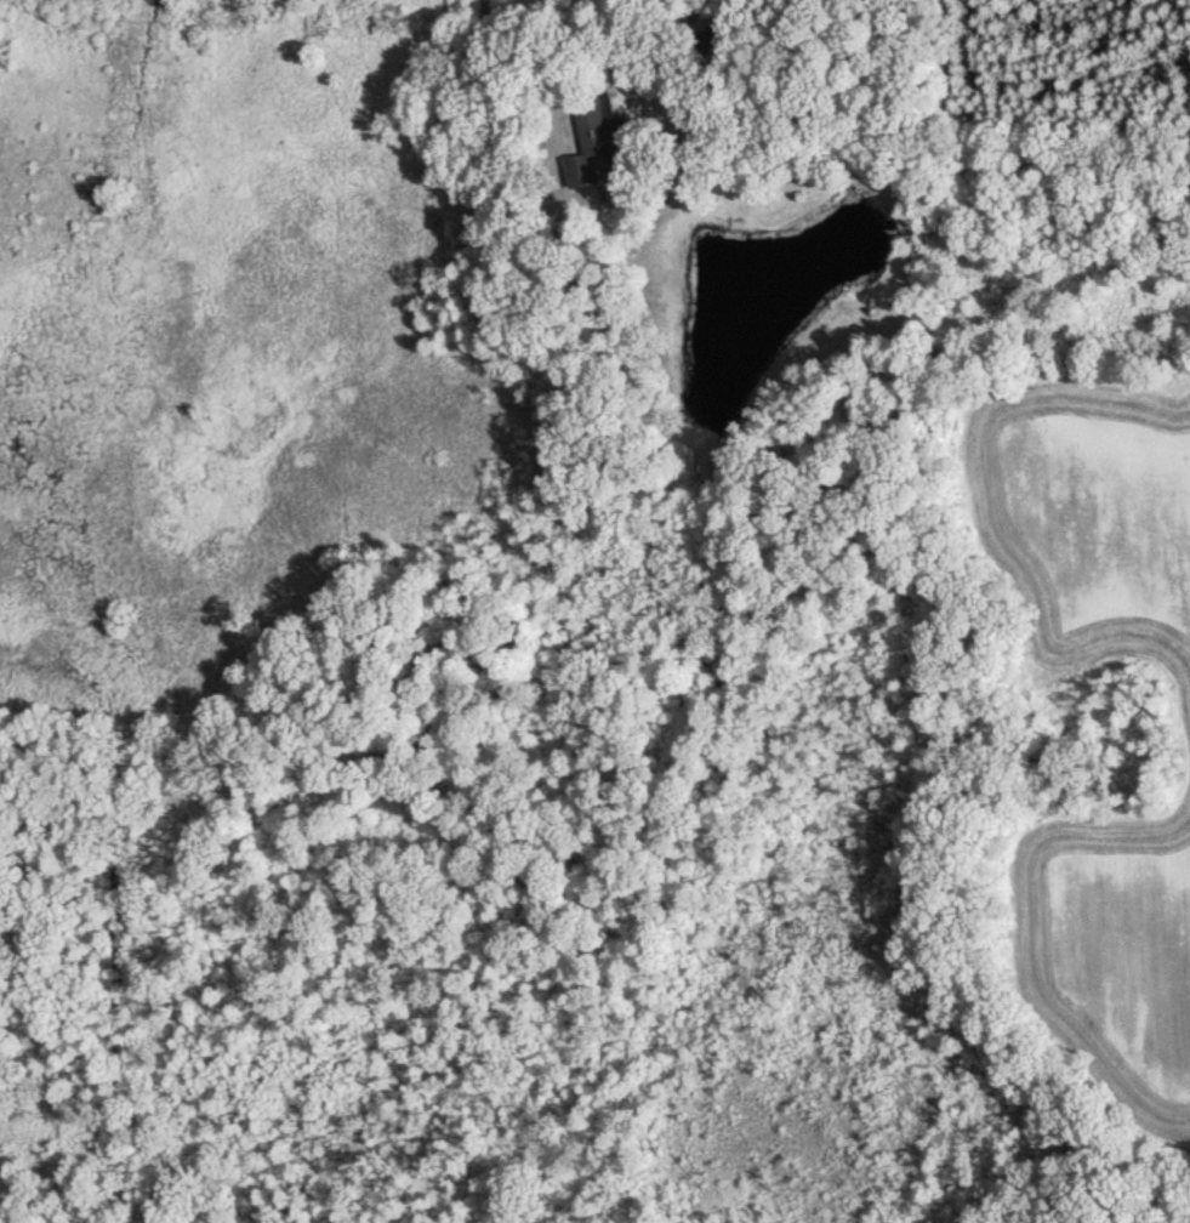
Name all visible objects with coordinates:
road: (653, 34)
building: (599, 140)

